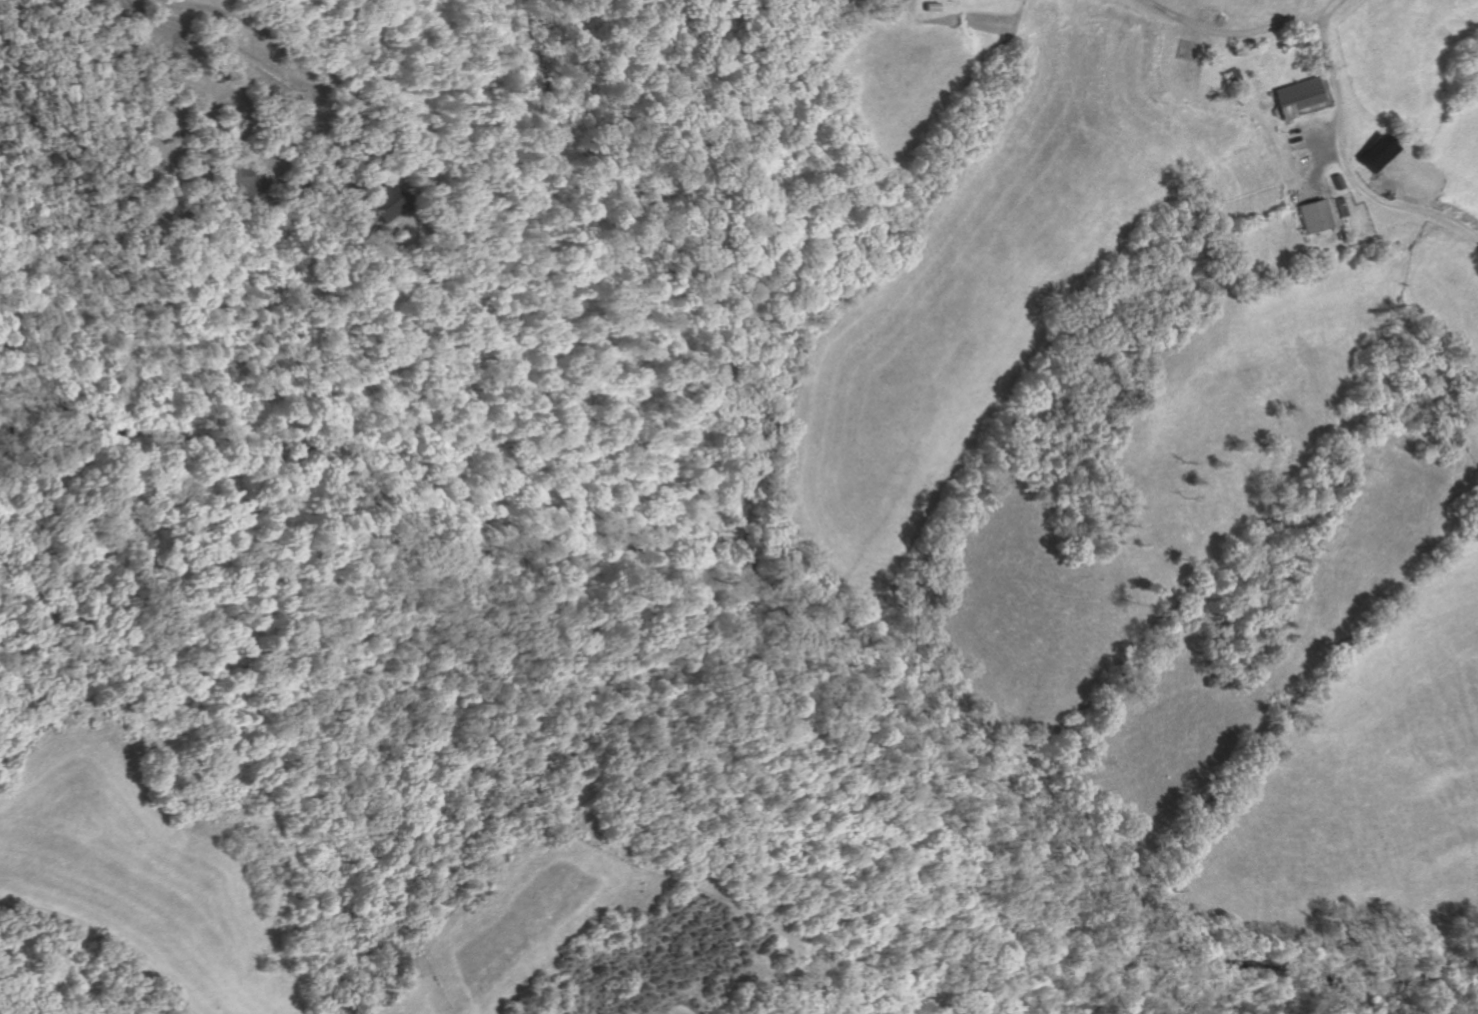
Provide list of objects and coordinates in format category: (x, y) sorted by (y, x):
building: (933, 7)
road: (257, 32)
road: (1227, 33)
building: (1229, 74)
road: (285, 79)
building: (1293, 96)
road: (1320, 133)
building: (1376, 153)
road: (1341, 156)
road: (1313, 165)
building: (1336, 181)
road: (360, 190)
building: (383, 200)
building: (1341, 206)
building: (1314, 217)
road: (107, 936)

